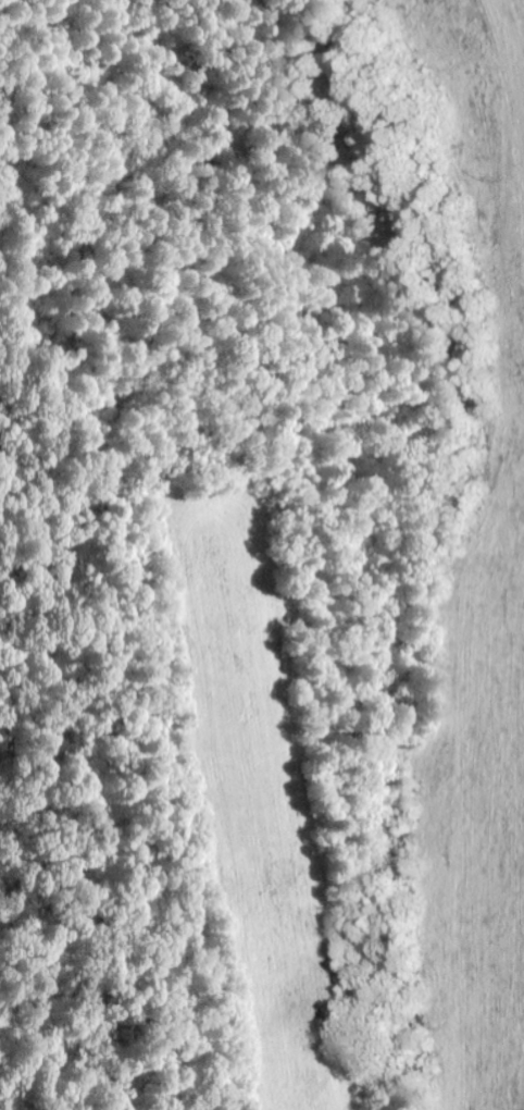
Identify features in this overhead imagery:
road: (152, 902)

